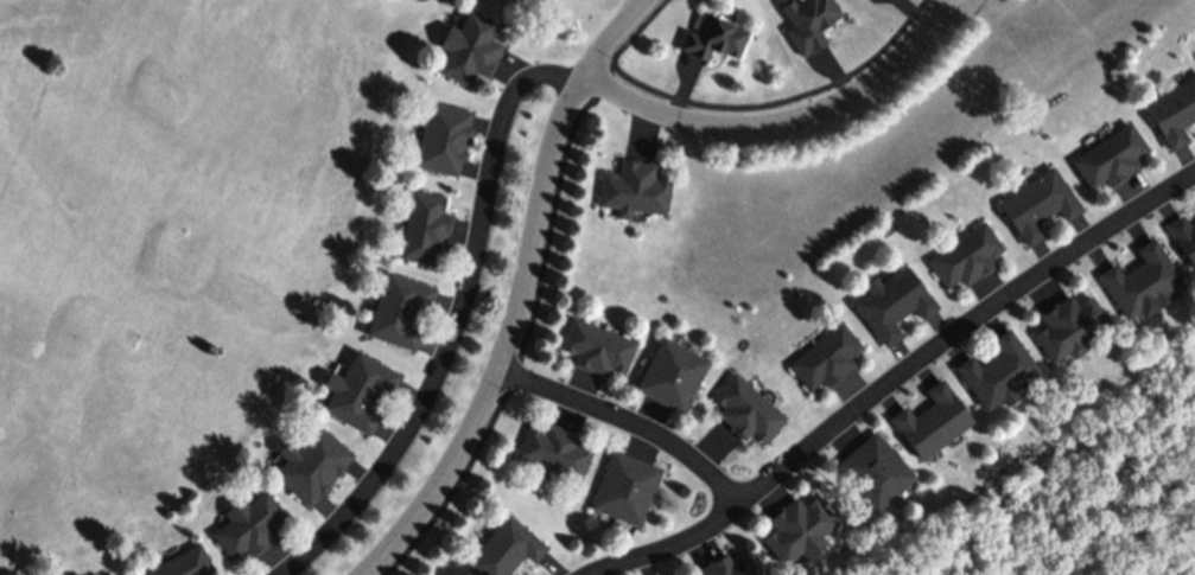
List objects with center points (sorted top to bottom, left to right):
road: (635, 1)
building: (808, 23)
building: (711, 37)
building: (469, 46)
road: (776, 98)
building: (1172, 109)
road: (783, 127)
building: (441, 138)
building: (1108, 156)
building: (633, 190)
building: (1036, 203)
building: (422, 225)
park: (172, 235)
building: (1183, 236)
building: (964, 256)
building: (1140, 280)
road: (514, 289)
road: (530, 290)
building: (892, 302)
building: (398, 308)
building: (1067, 324)
road: (458, 326)
building: (596, 346)
building: (825, 357)
building: (996, 368)
building: (670, 373)
road: (898, 379)
building: (356, 389)
building: (745, 408)
building: (929, 419)
road: (628, 422)
building: (553, 448)
building: (310, 462)
building: (872, 469)
building: (624, 486)
building: (247, 524)
building: (795, 528)
building: (503, 548)
building: (180, 563)
building: (724, 566)
building: (119, 574)

